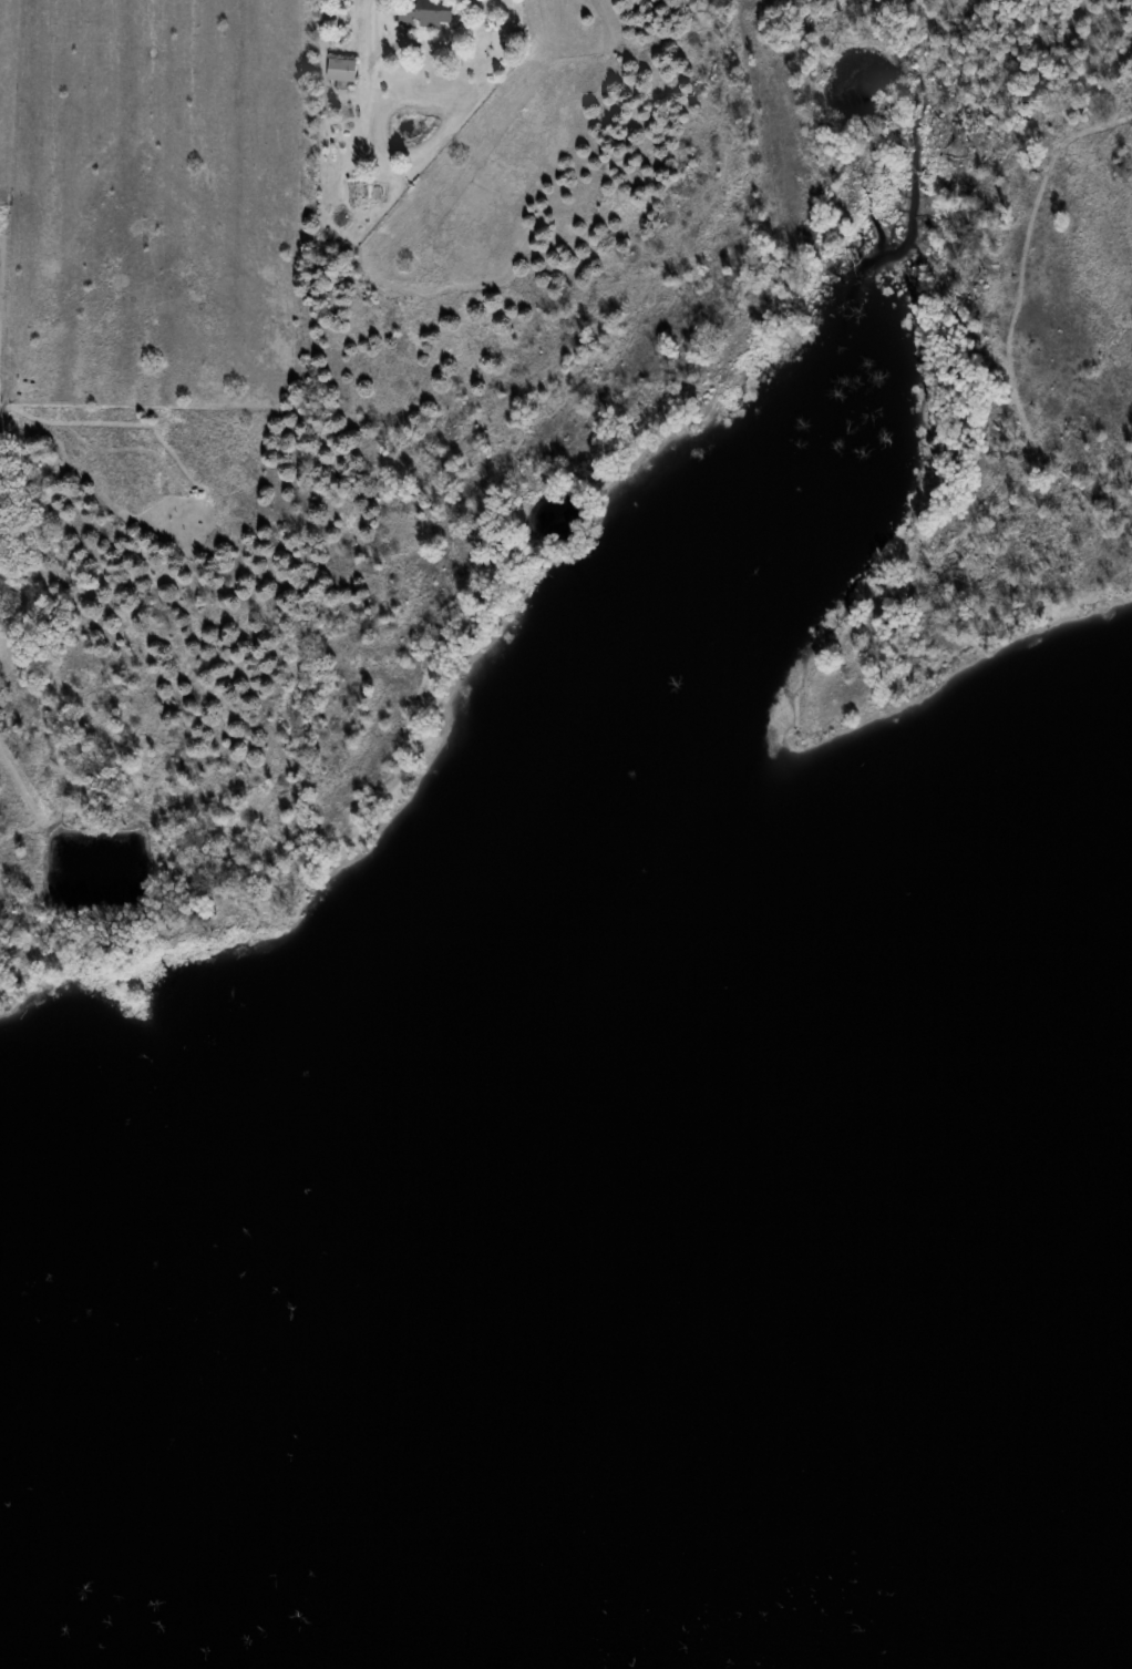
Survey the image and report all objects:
building: (419, 9)
road: (366, 19)
building: (338, 63)

